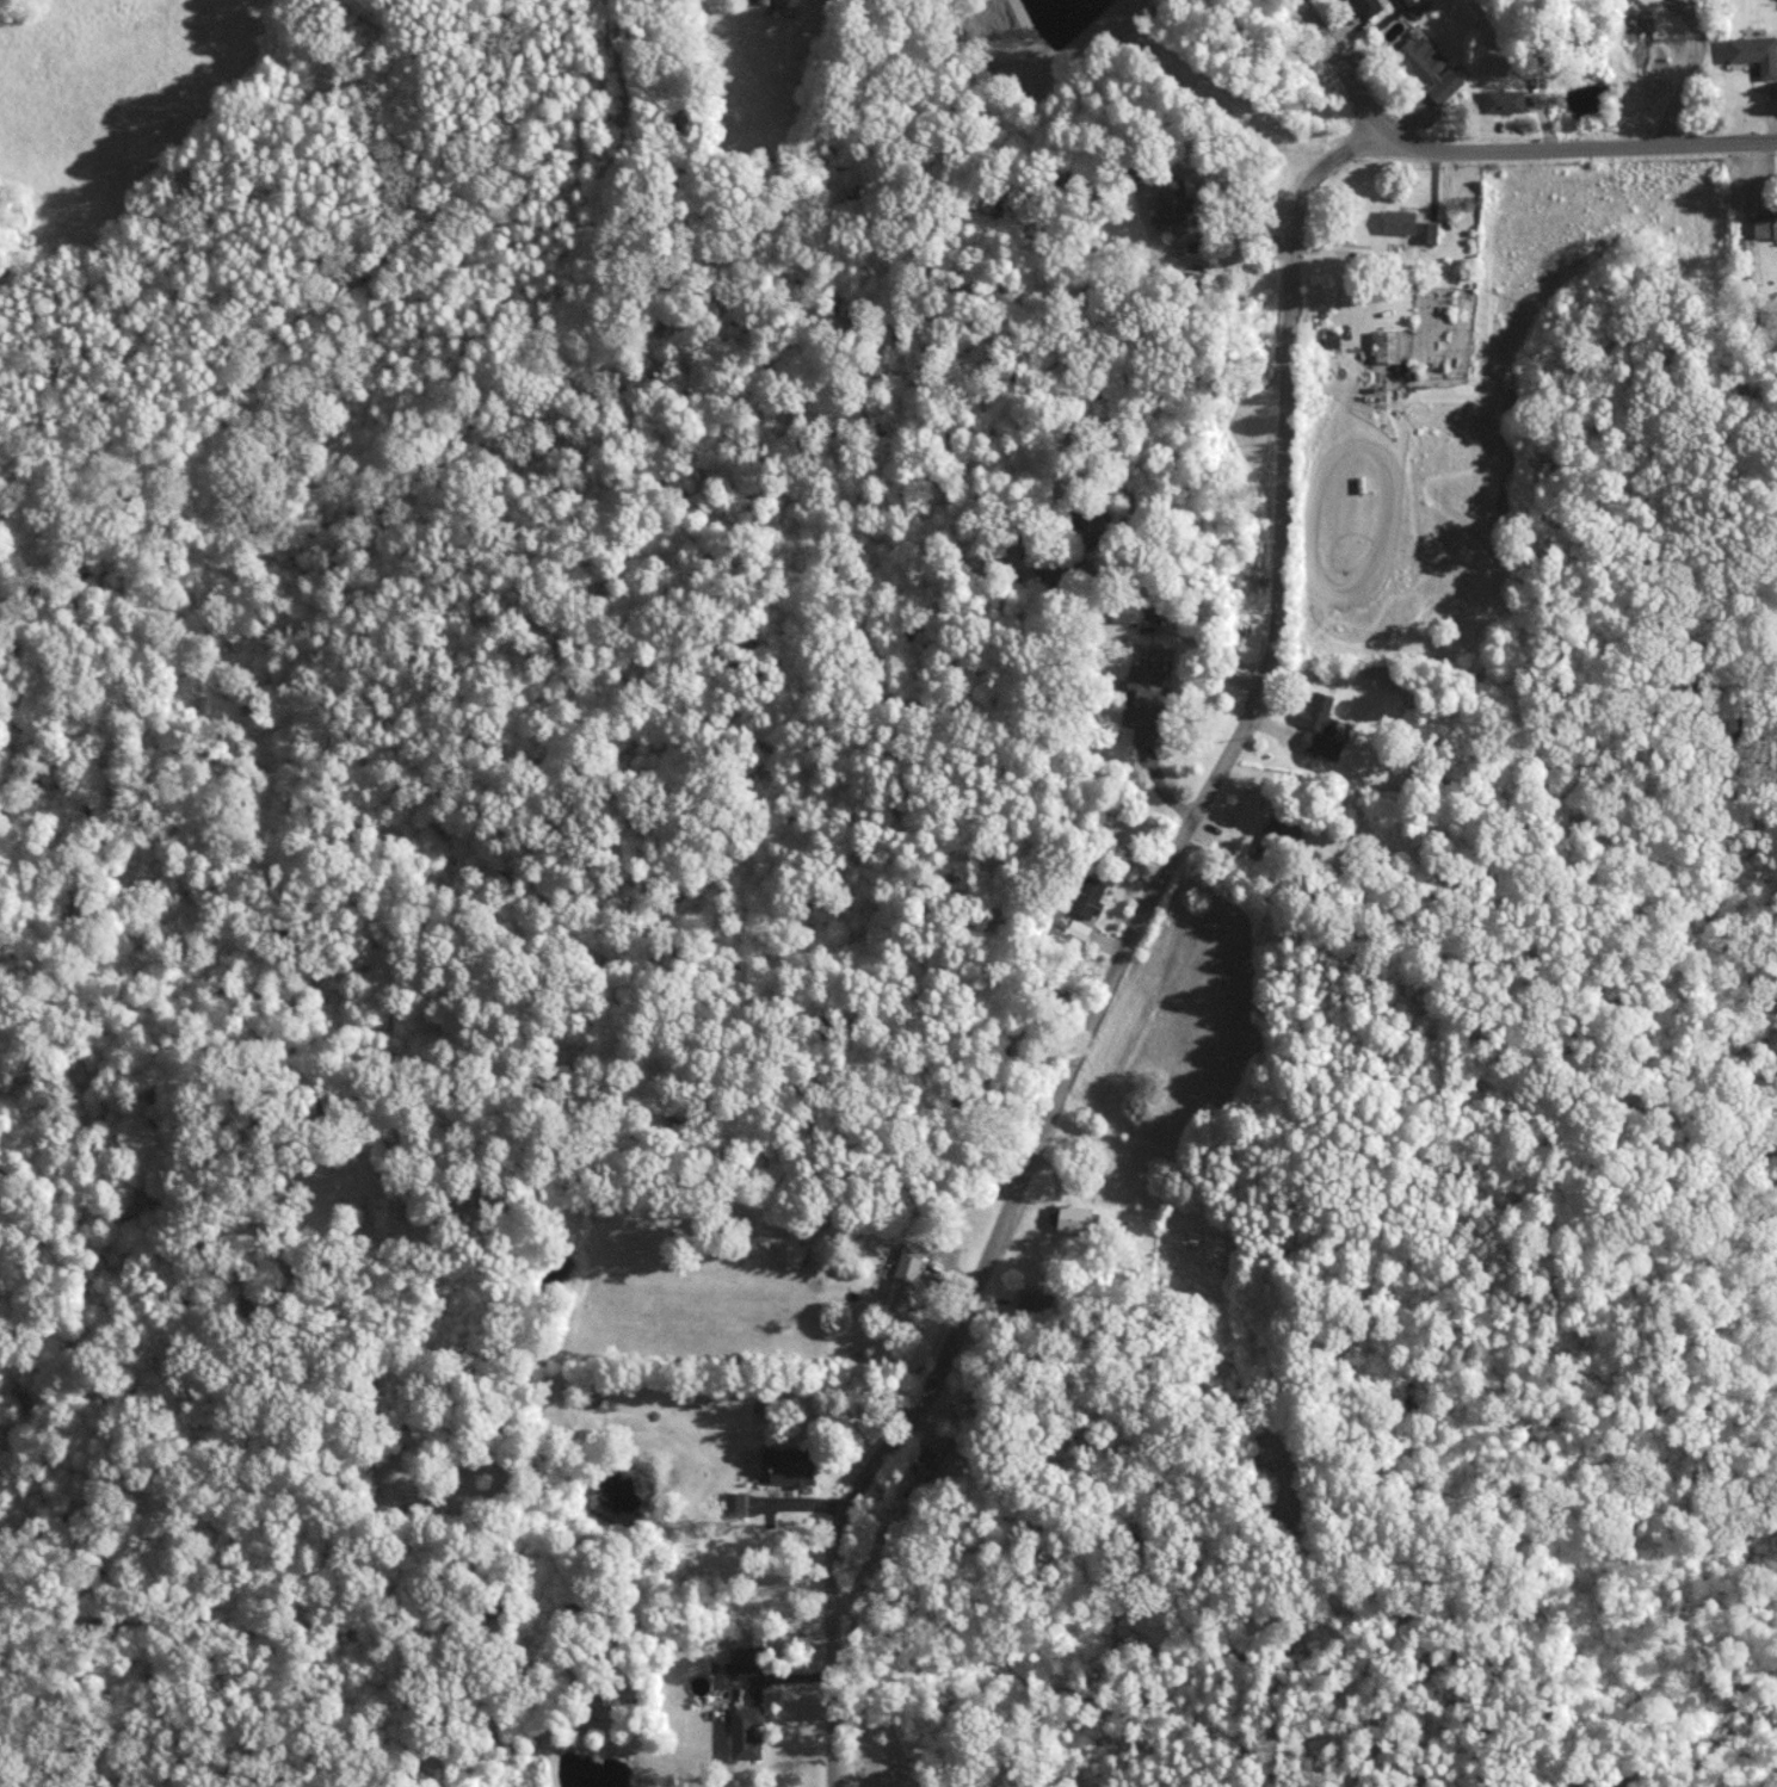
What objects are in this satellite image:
building: (764, 0)
building: (1369, 6)
building: (1756, 51)
building: (1427, 67)
road: (1686, 80)
building: (1505, 99)
road: (1498, 149)
building: (1170, 199)
building: (1409, 224)
building: (1766, 224)
building: (1388, 345)
road: (1186, 607)
building: (1144, 703)
building: (1319, 712)
building: (1321, 743)
building: (1277, 836)
building: (1090, 896)
road: (1127, 947)
road: (715, 1188)
building: (385, 1211)
building: (1070, 1217)
building: (903, 1278)
building: (1034, 1300)
building: (792, 1465)
building: (952, 1465)
building: (735, 1502)
building: (746, 1646)
building: (746, 1730)

